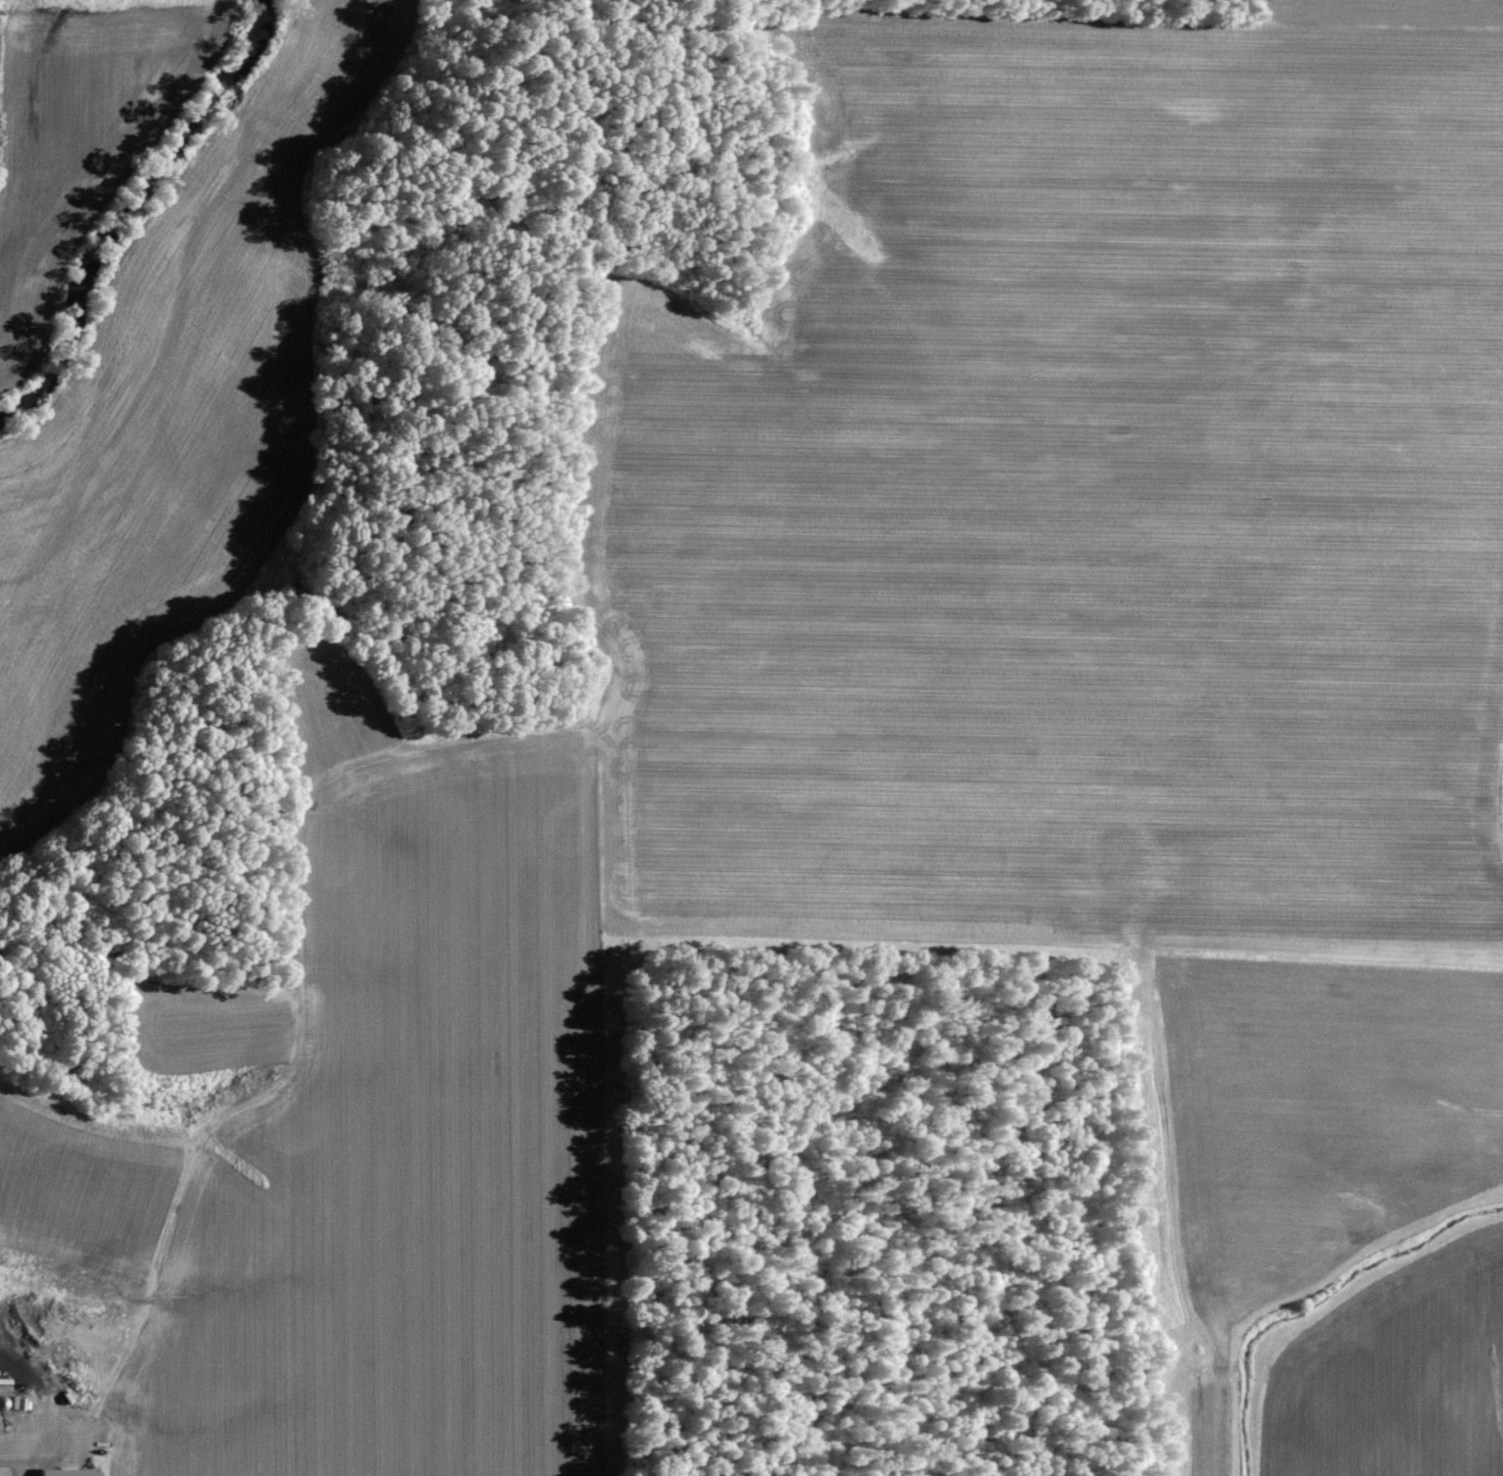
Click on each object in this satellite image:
road: (297, 1008)
road: (37, 1448)
building: (2, 1471)
building: (65, 1473)

